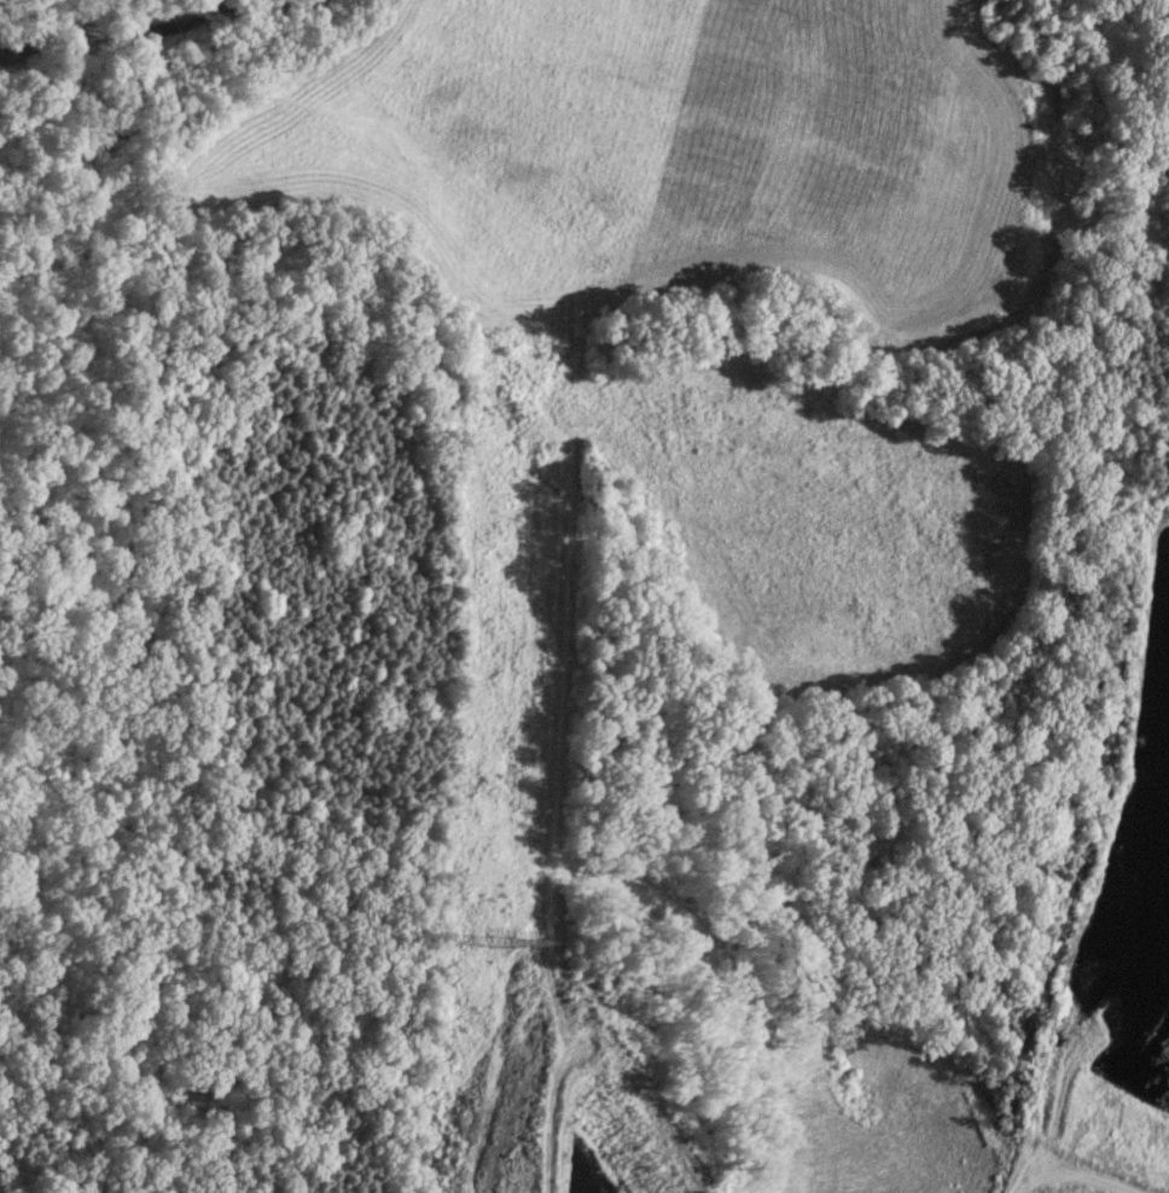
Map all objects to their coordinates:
power tower: (496, 941)

